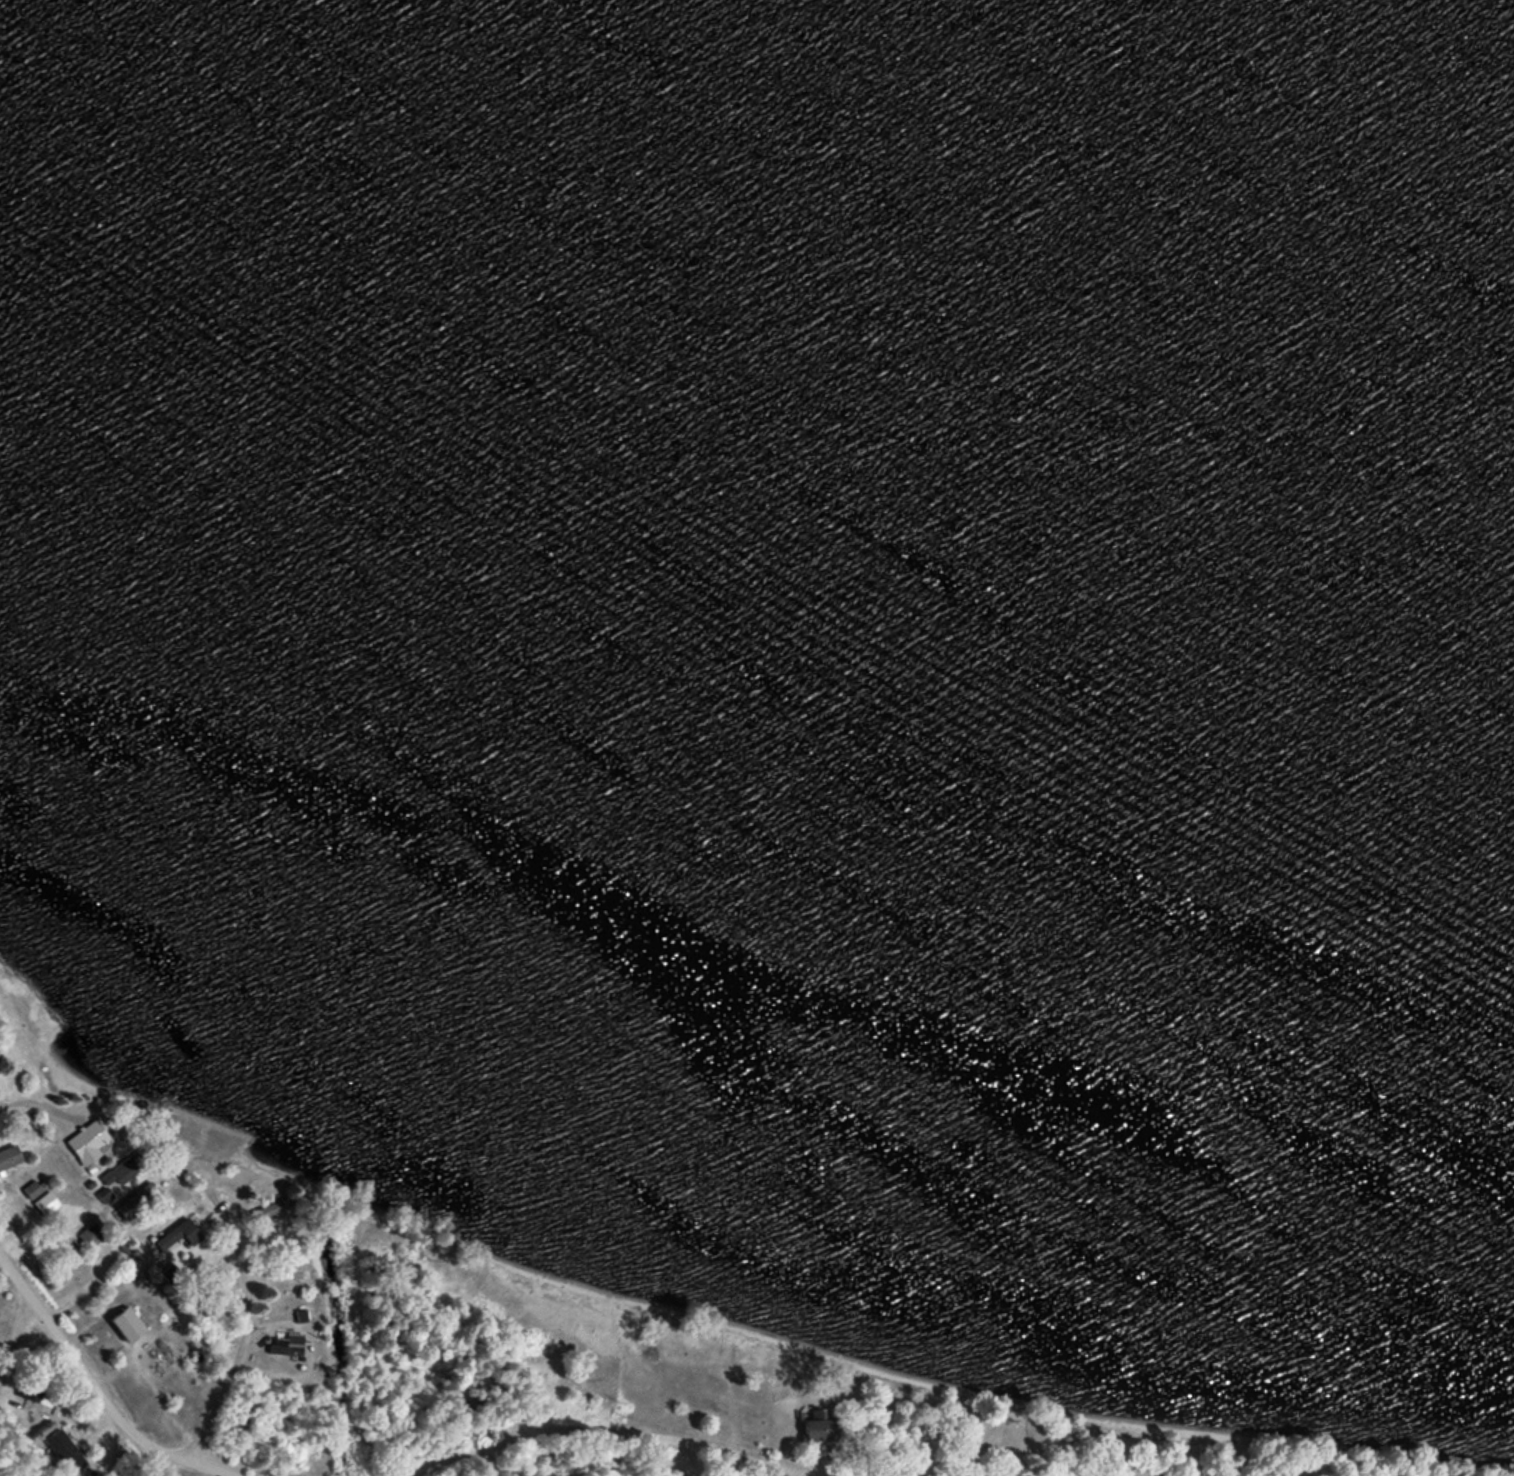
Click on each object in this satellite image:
building: (1, 1067)
road: (41, 1105)
building: (94, 1143)
building: (9, 1157)
building: (122, 1172)
building: (36, 1189)
building: (106, 1195)
building: (140, 1202)
building: (47, 1204)
building: (274, 1208)
building: (181, 1235)
building: (92, 1236)
building: (128, 1324)
road: (13, 1329)
road: (237, 1344)
building: (283, 1350)
road: (81, 1368)
building: (32, 1392)
building: (821, 1428)
road: (611, 1431)
building: (66, 1451)
road: (496, 1458)
road: (174, 1466)
road: (215, 1466)

